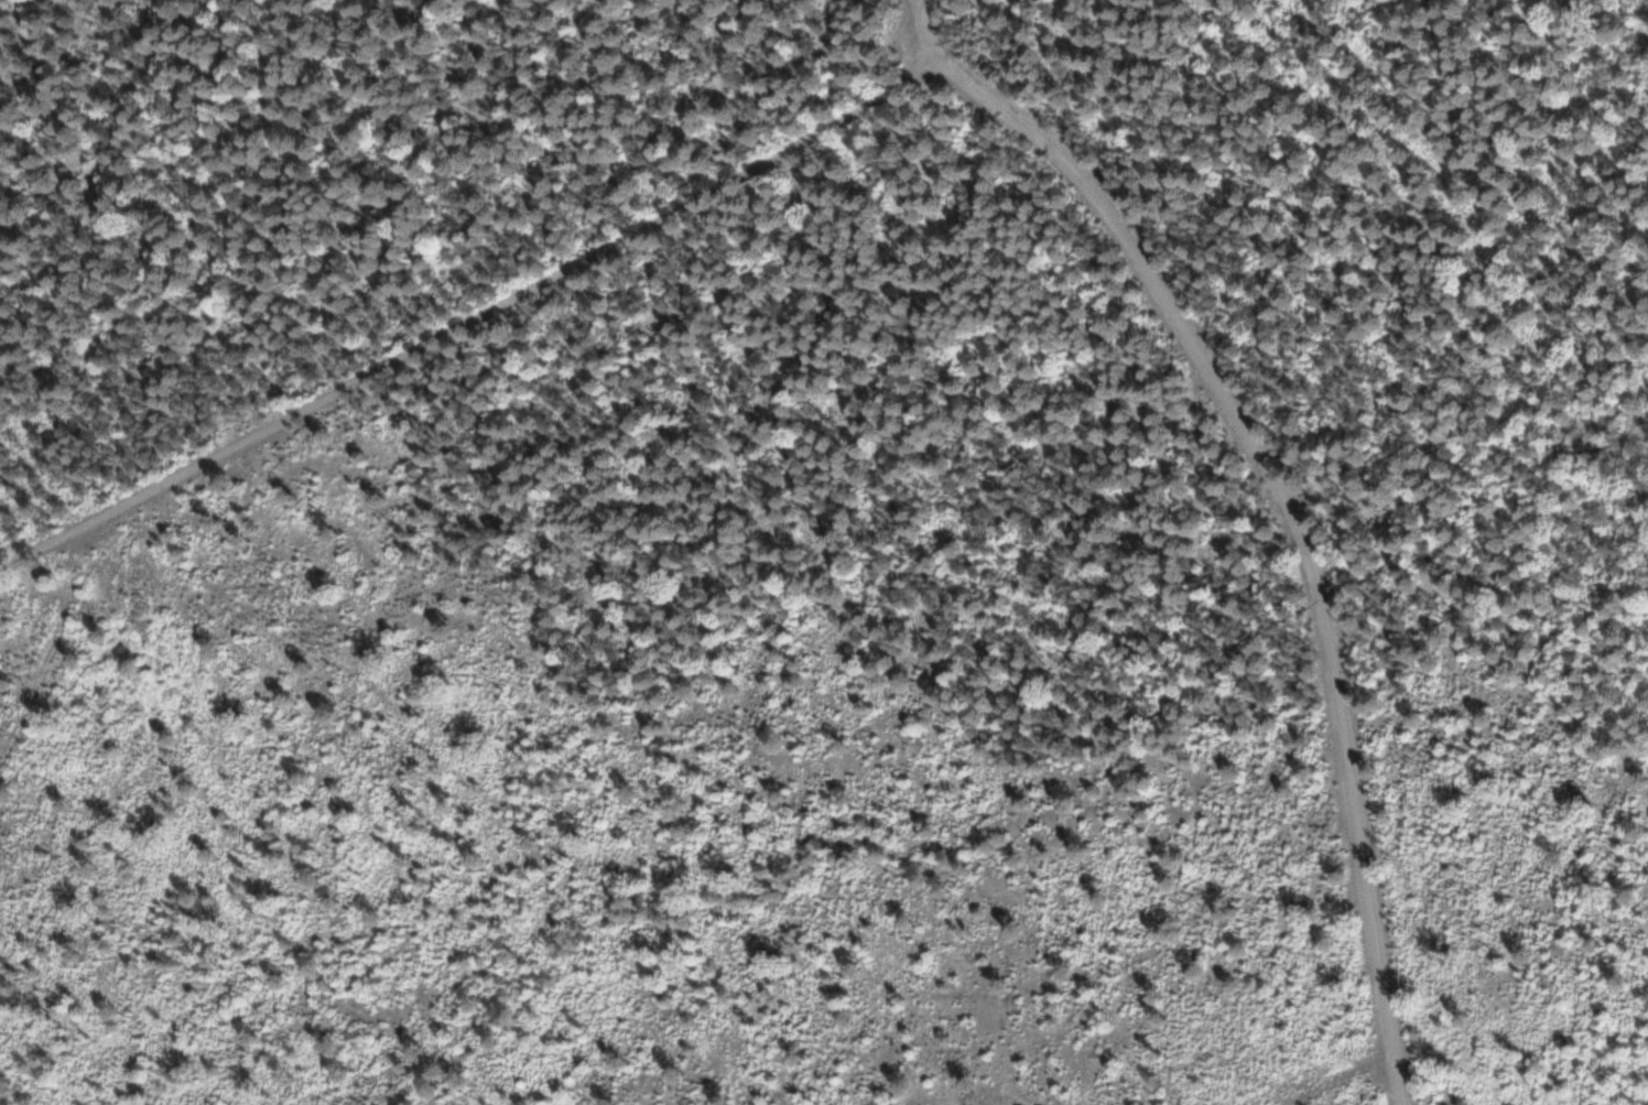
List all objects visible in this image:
road: (471, 324)
road: (1282, 492)
road: (1048, 805)

